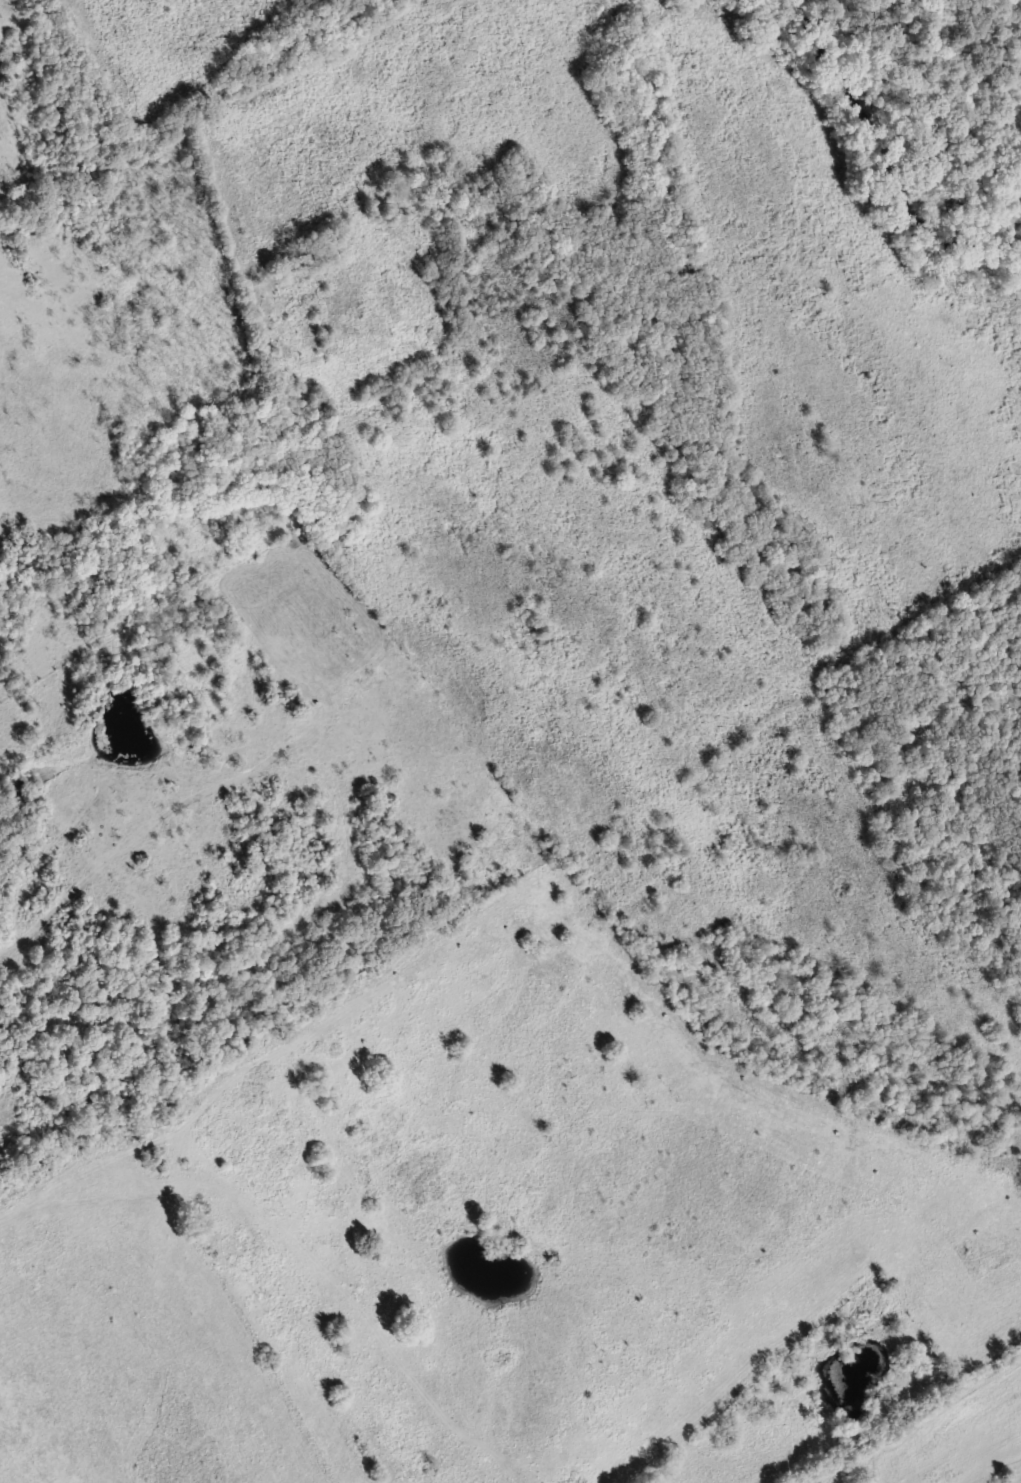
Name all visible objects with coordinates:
road: (16, 1177)

